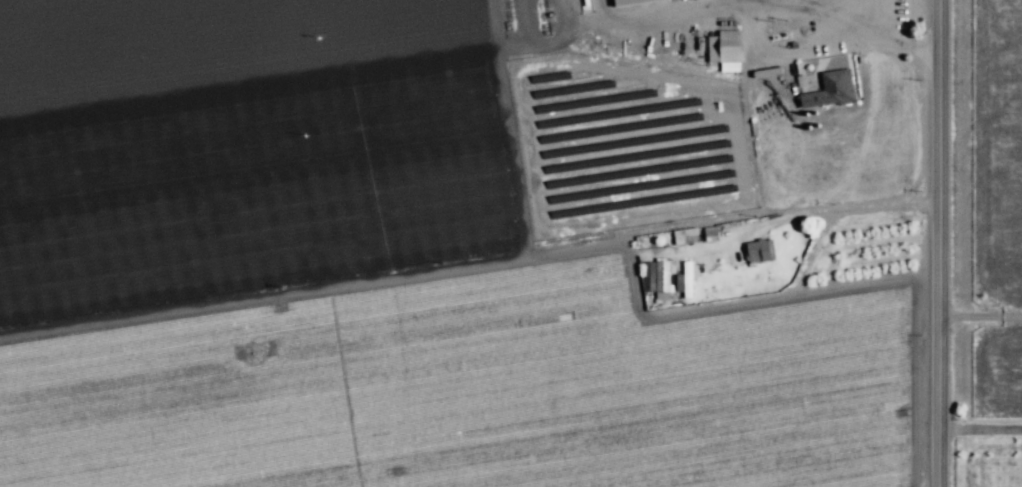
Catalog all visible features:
building: (625, 1)
building: (726, 49)
road: (818, 50)
building: (829, 89)
solar farm: (625, 145)
crop: (985, 210)
road: (785, 220)
building: (684, 236)
building: (709, 236)
road: (932, 243)
building: (758, 251)
crop: (396, 268)
building: (661, 280)
building: (687, 281)
road: (976, 315)
road: (977, 435)

